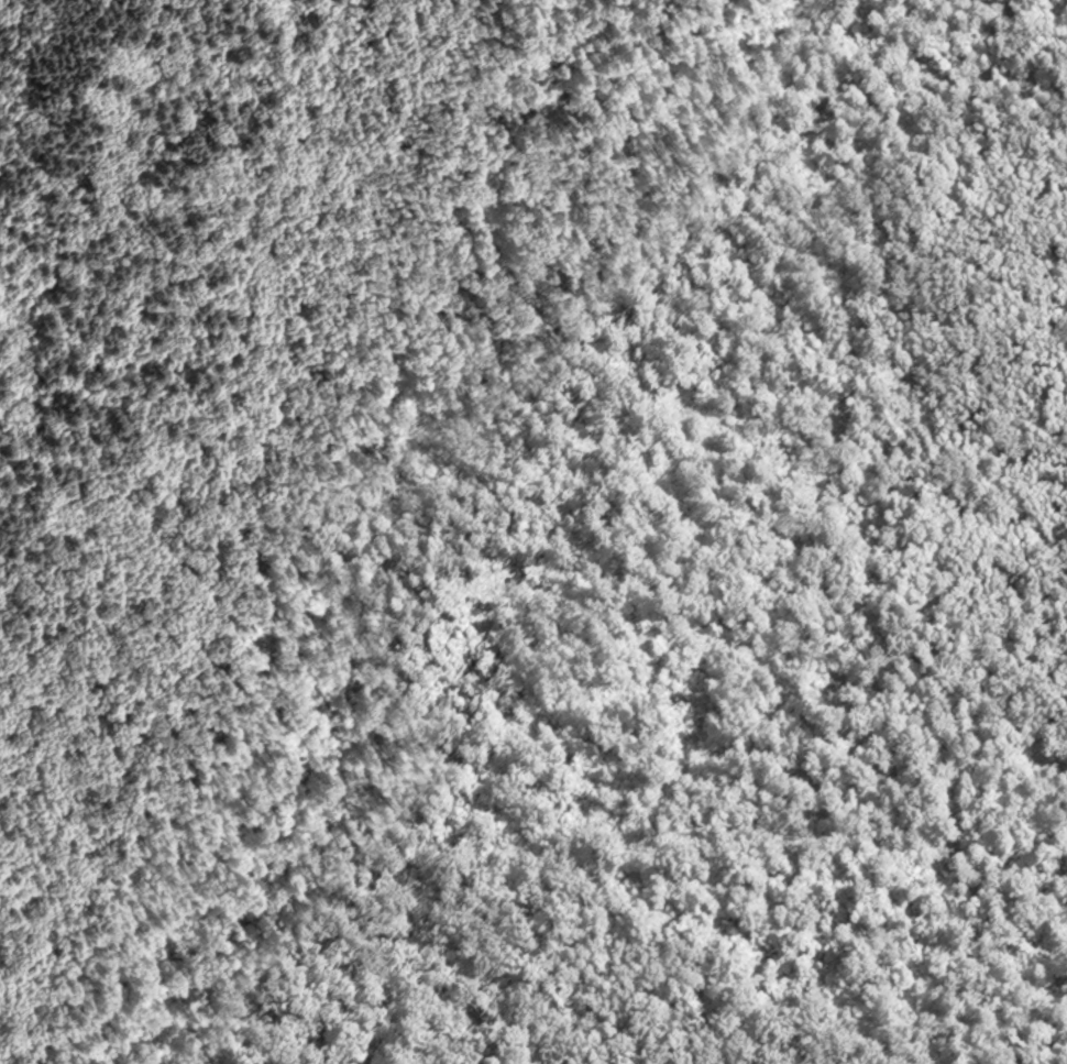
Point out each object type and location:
road: (421, 530)

